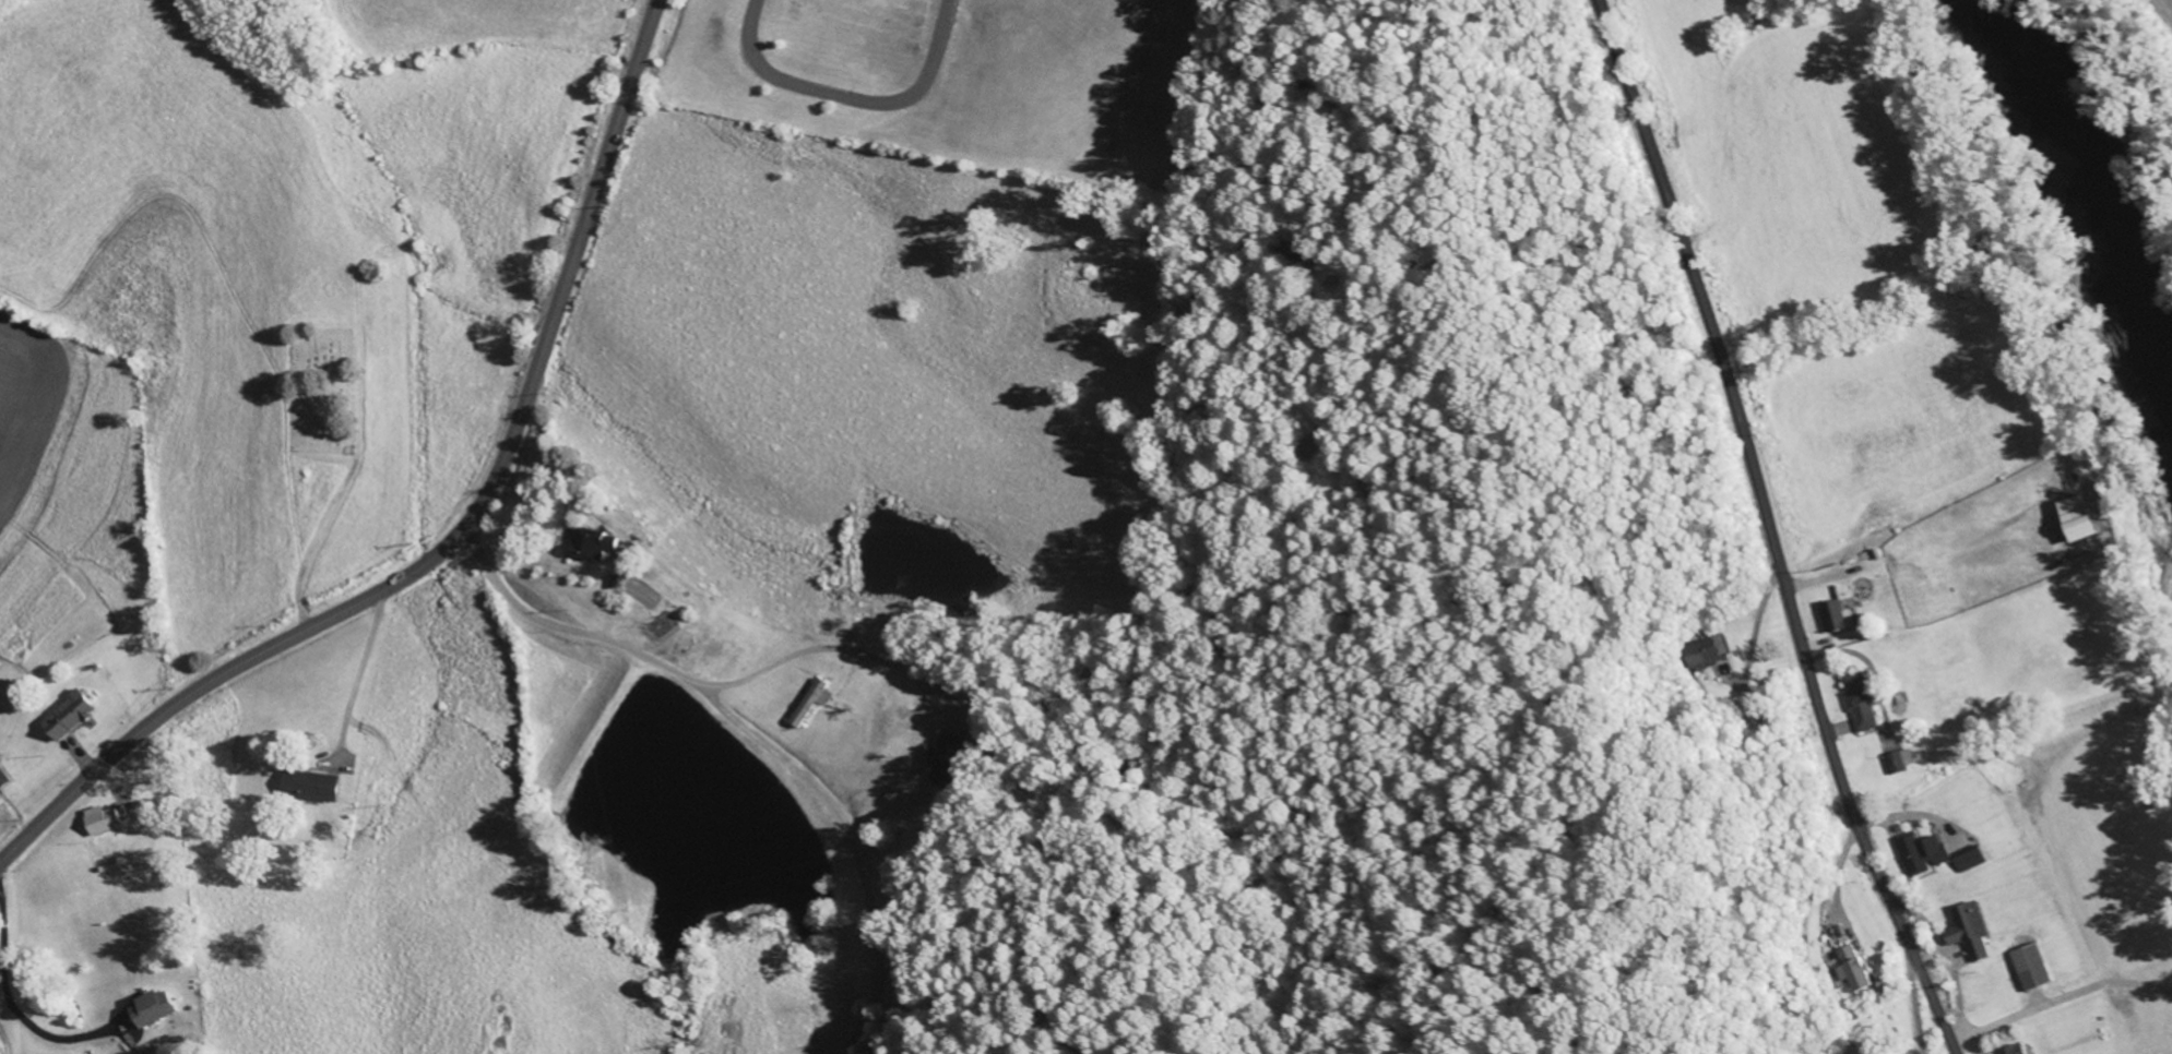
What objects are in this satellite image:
river: (2105, 212)
park: (324, 387)
building: (2072, 518)
road: (1768, 529)
road: (462, 532)
building: (595, 548)
road: (491, 578)
building: (1830, 616)
building: (1701, 650)
building: (814, 699)
building: (1854, 703)
building: (72, 715)
building: (951, 756)
building: (1896, 760)
building: (3, 778)
building: (314, 786)
building: (105, 819)
building: (1918, 852)
building: (1966, 929)
building: (2026, 966)
building: (1845, 968)
building: (157, 1009)
building: (2010, 1050)

